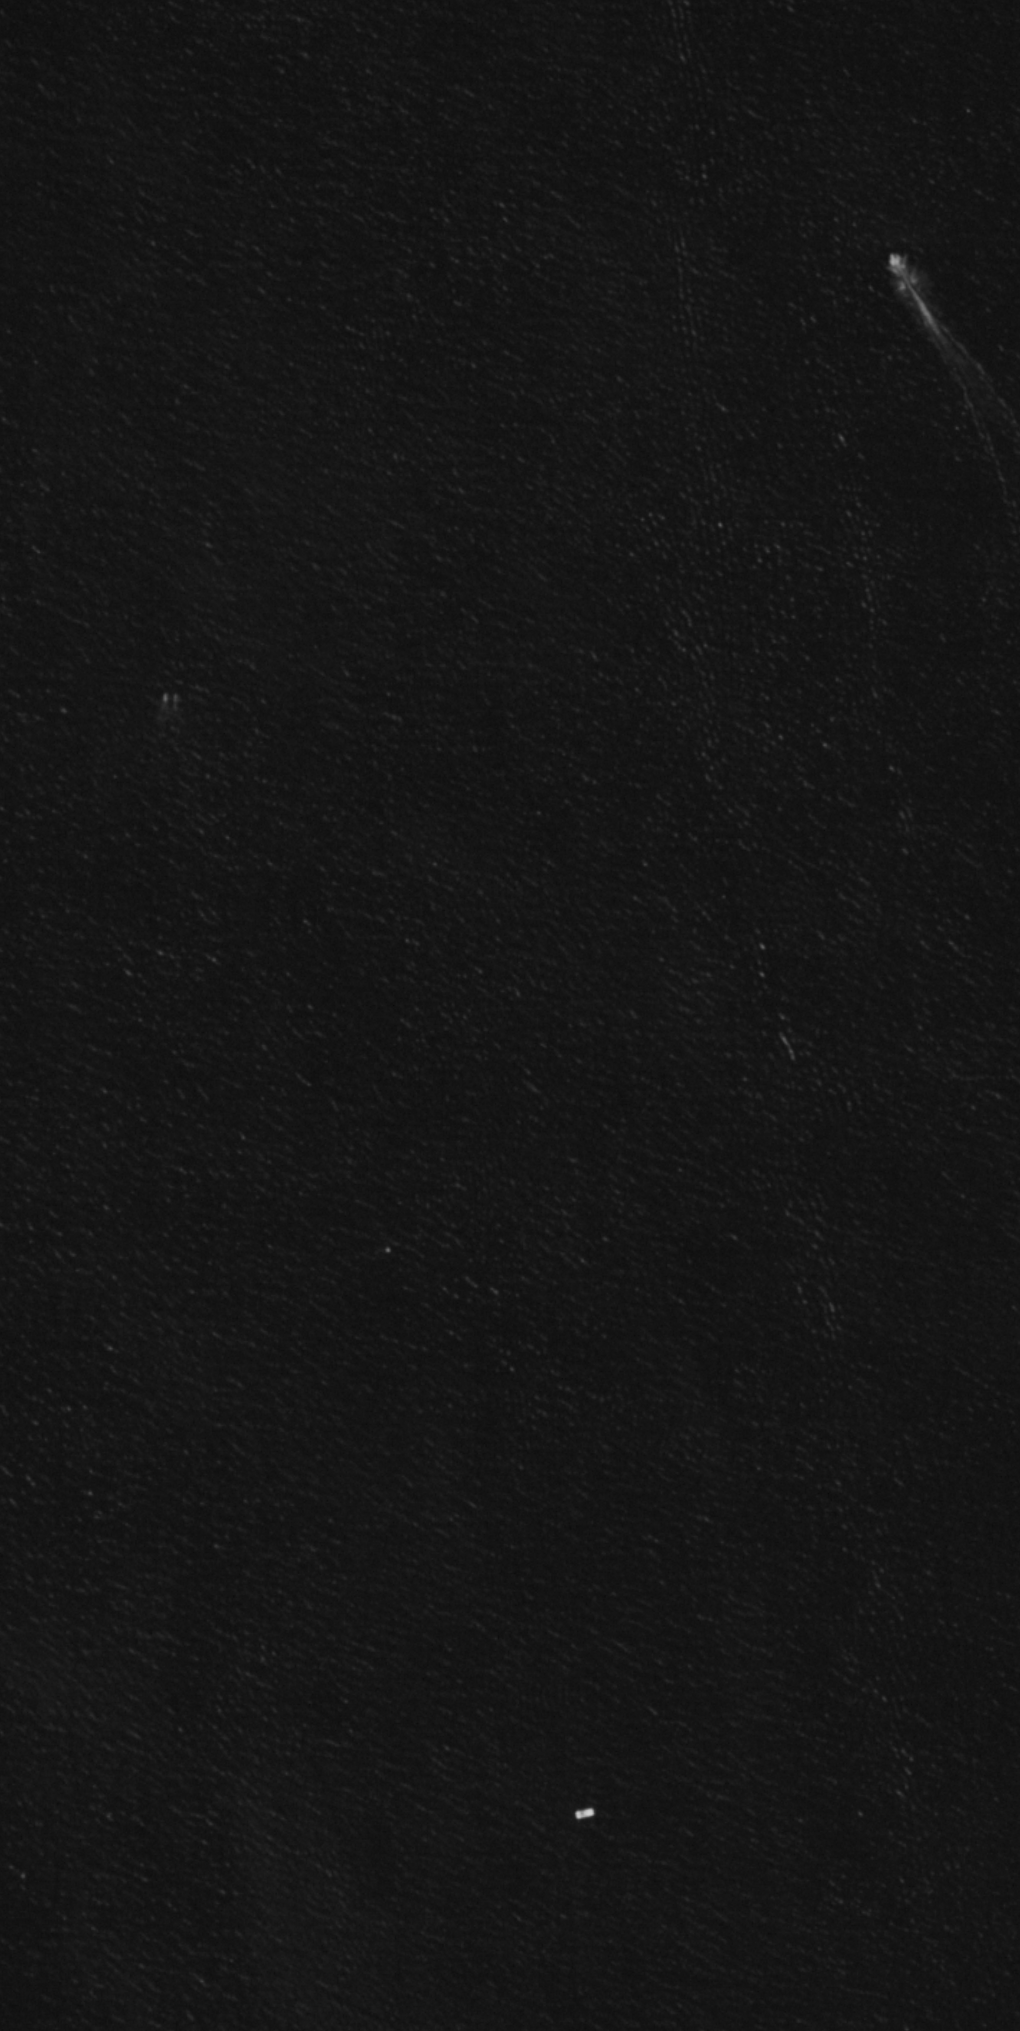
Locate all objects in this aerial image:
river: (636, 1013)

